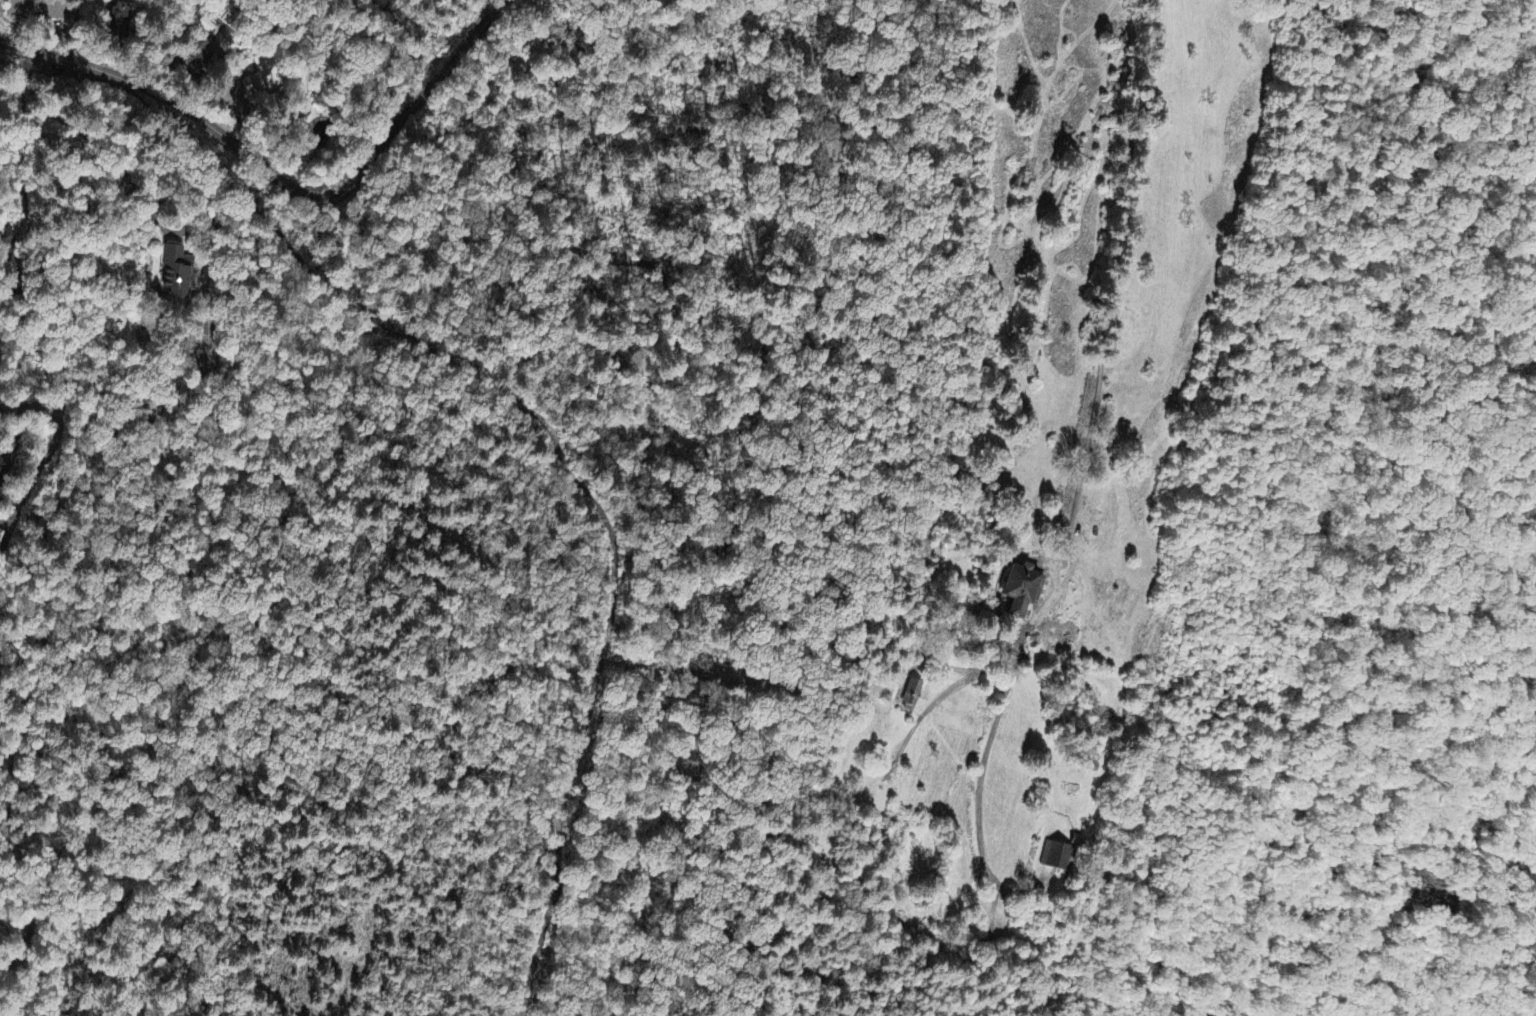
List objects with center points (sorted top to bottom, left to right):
building: (38, 9)
road: (7, 19)
road: (76, 19)
road: (47, 28)
building: (253, 87)
road: (282, 184)
building: (177, 276)
road: (365, 305)
road: (54, 306)
road: (30, 408)
building: (1, 463)
building: (1024, 591)
road: (609, 599)
road: (926, 610)
building: (913, 695)
road: (8, 798)
building: (1061, 857)

